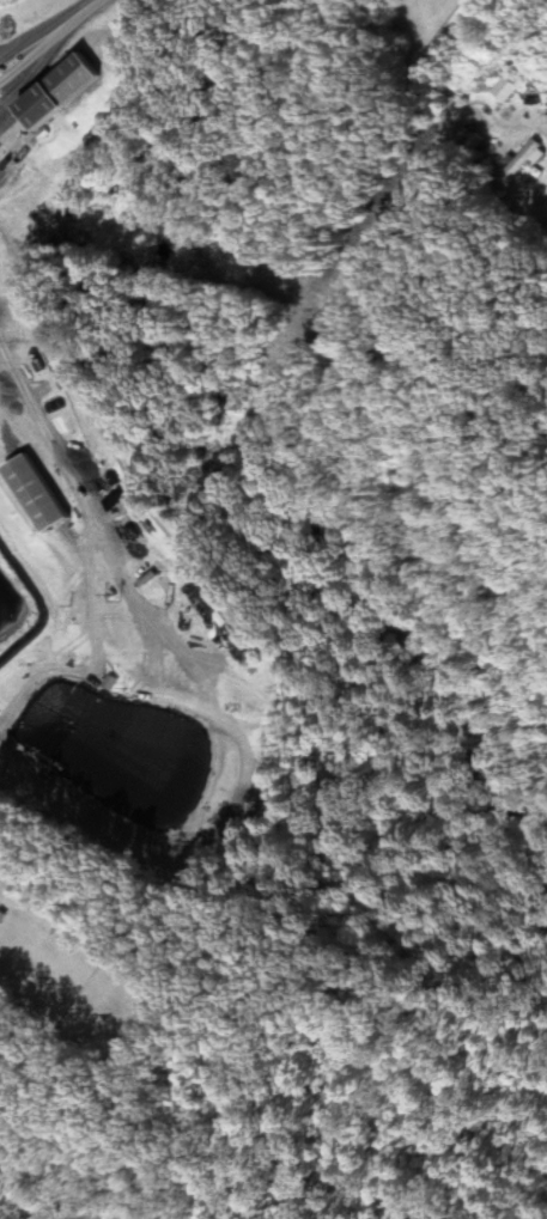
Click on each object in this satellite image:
road: (41, 28)
building: (50, 91)
road: (540, 133)
road: (47, 433)
building: (34, 490)
building: (2, 916)

